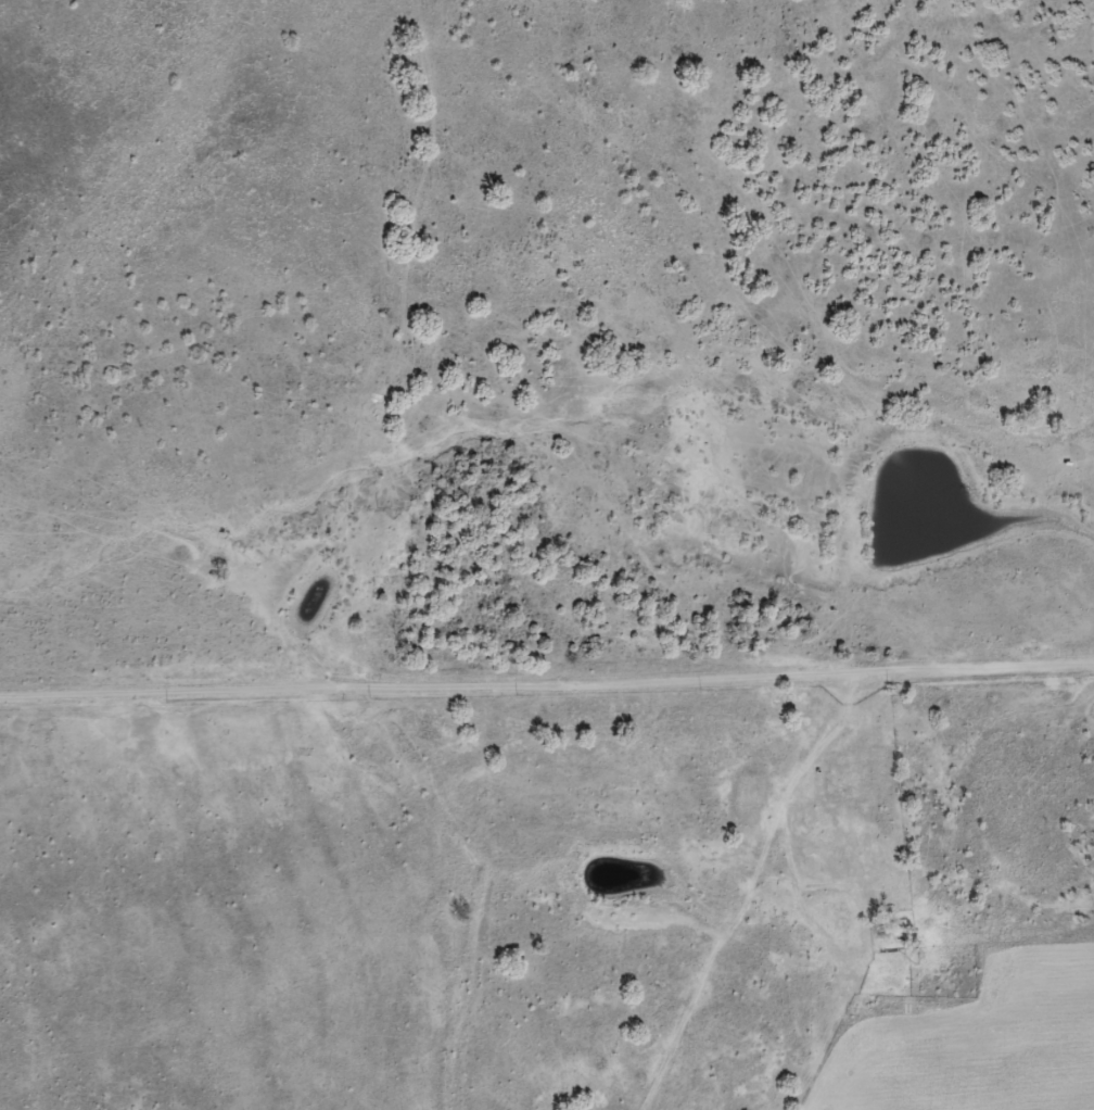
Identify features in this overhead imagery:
road: (547, 674)
building: (851, 775)
building: (811, 818)
road: (711, 901)

